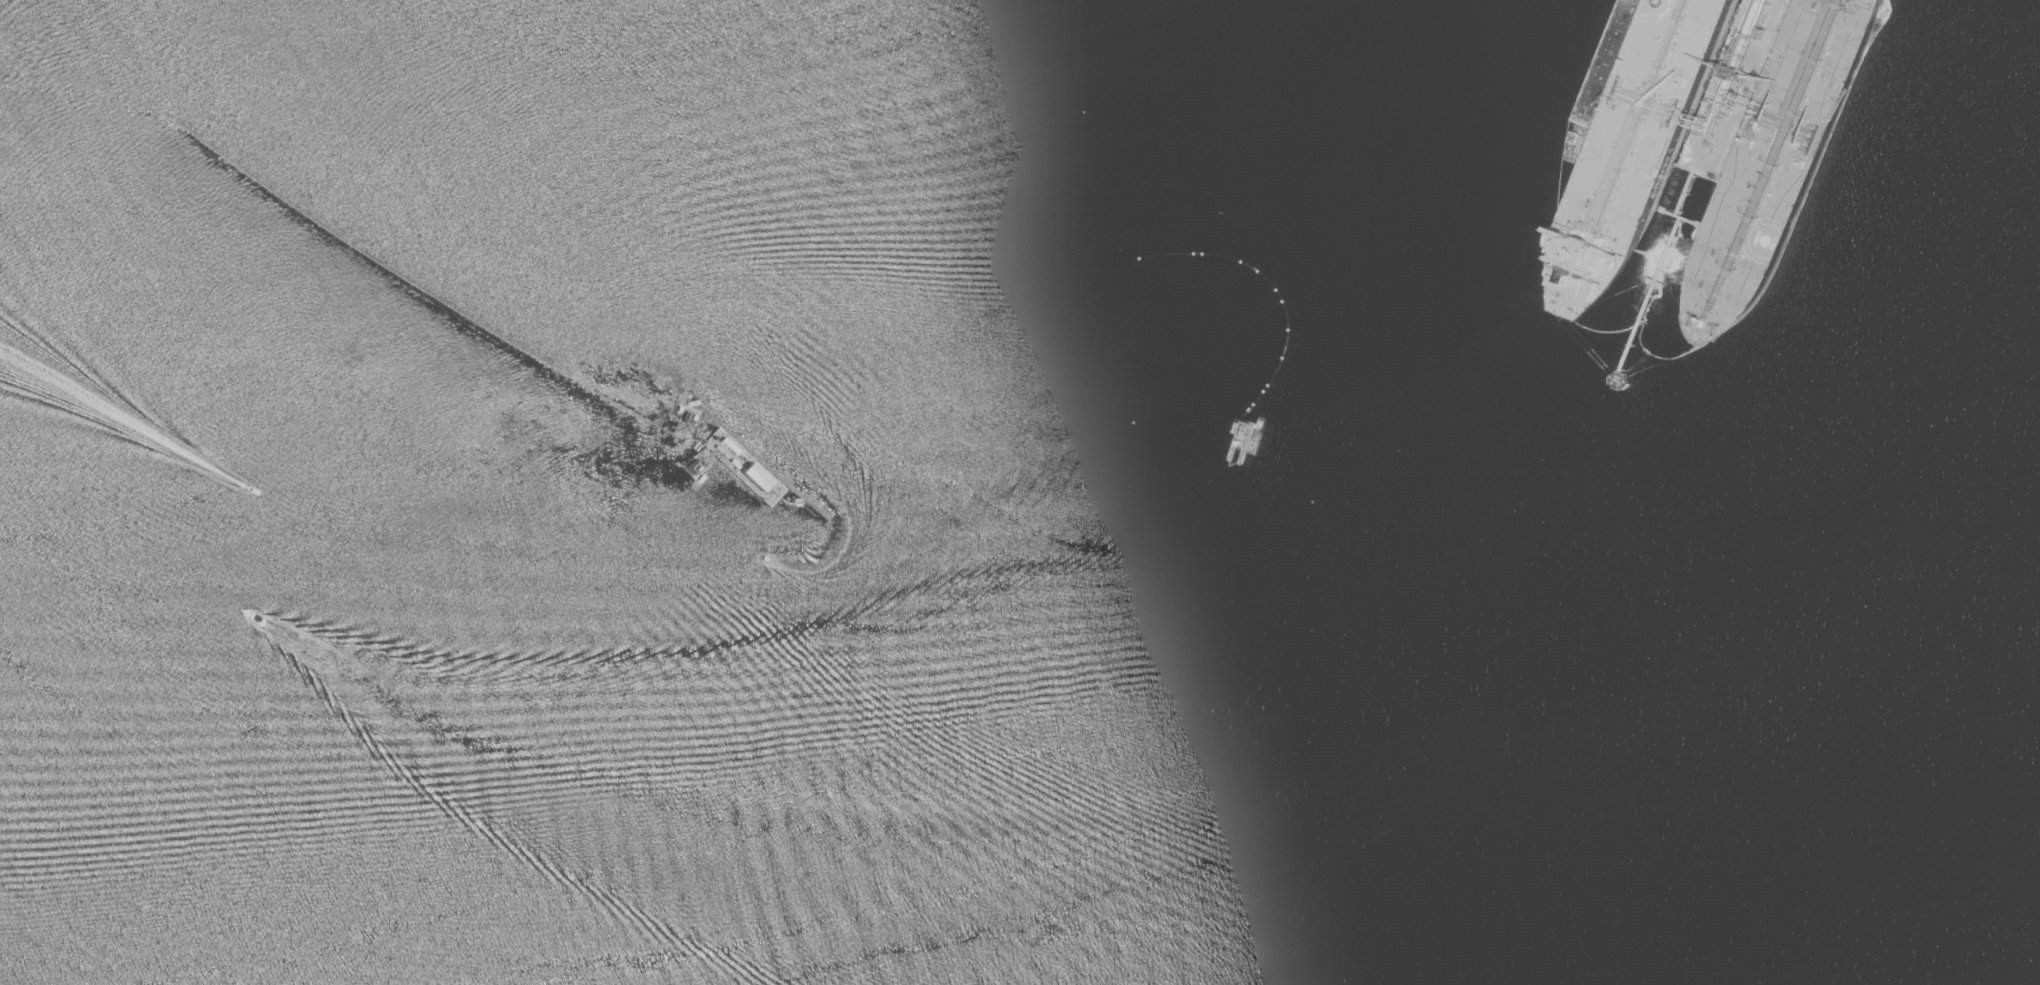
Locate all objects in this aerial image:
pier: (1733, 86)
building: (1712, 137)

